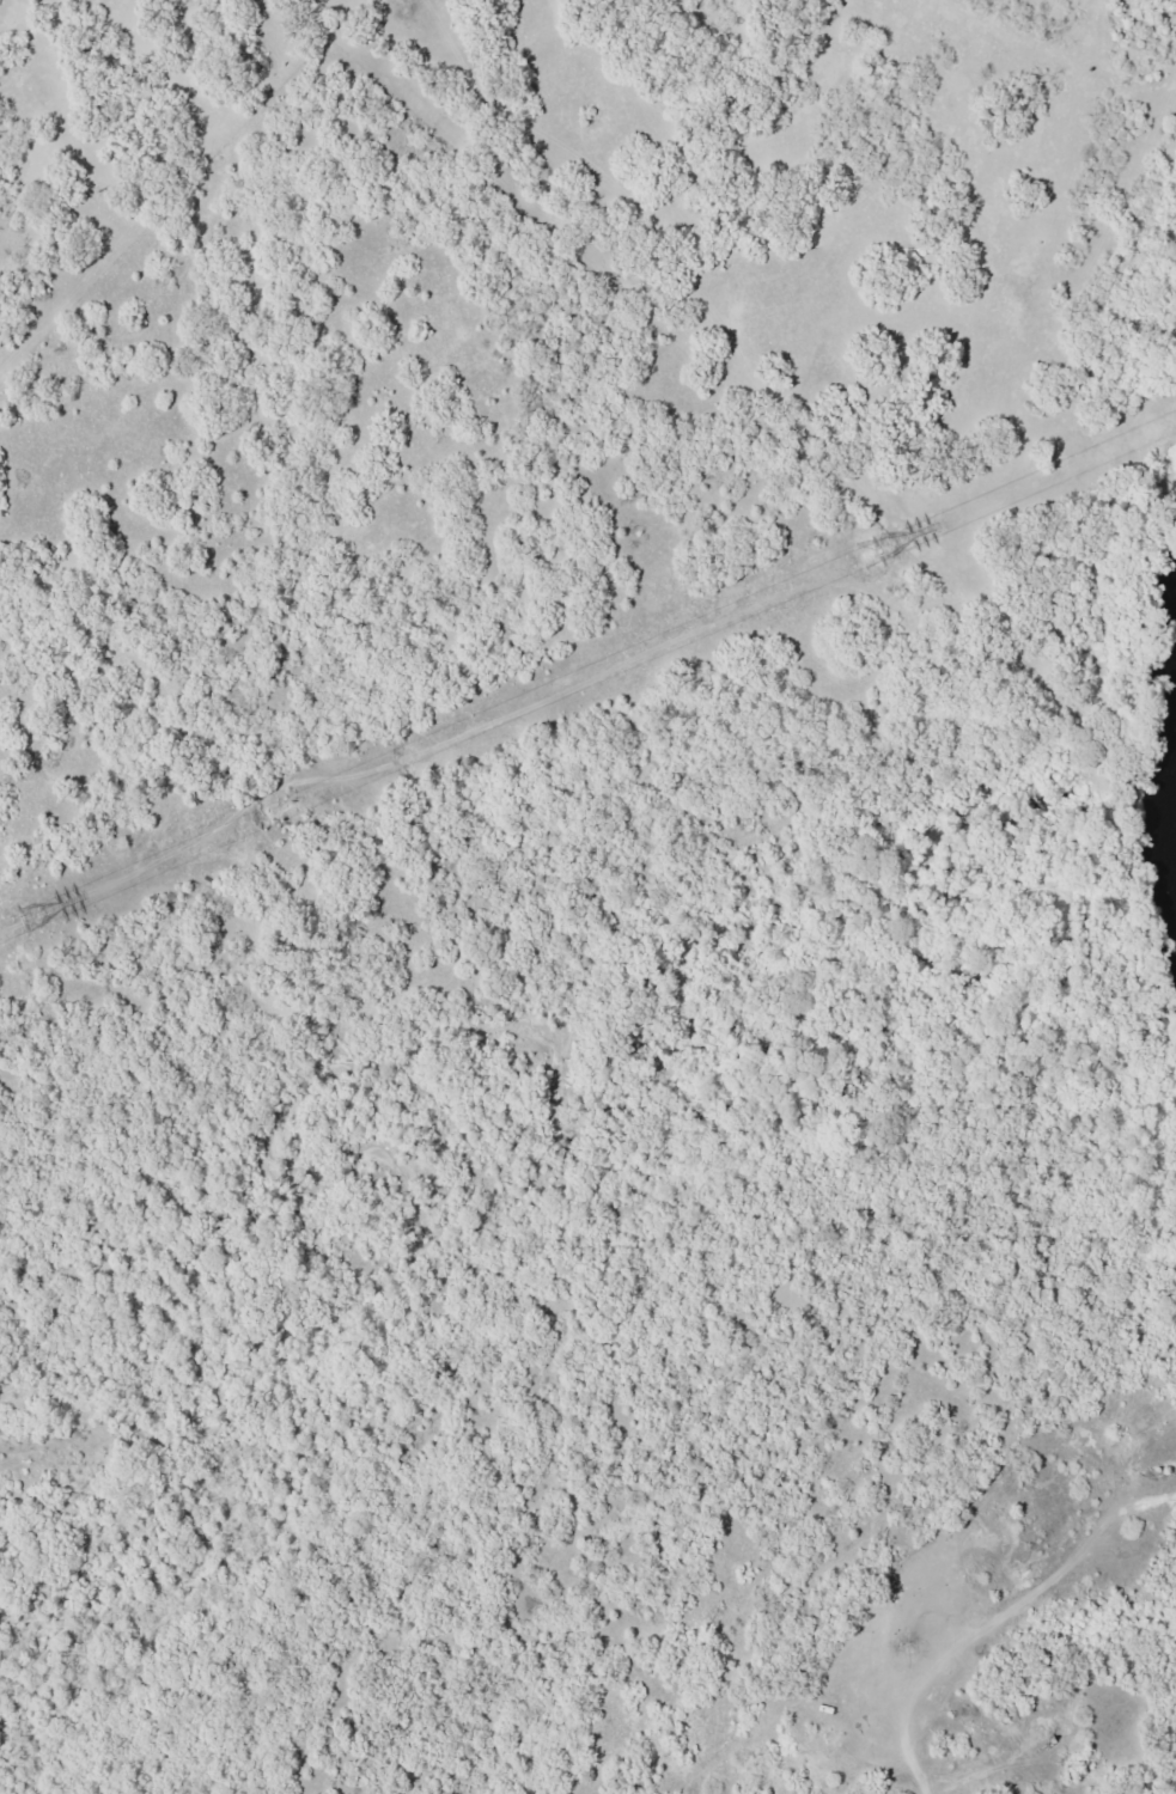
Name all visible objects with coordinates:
power tower: (869, 550)
power tower: (23, 920)
road: (1022, 1630)

